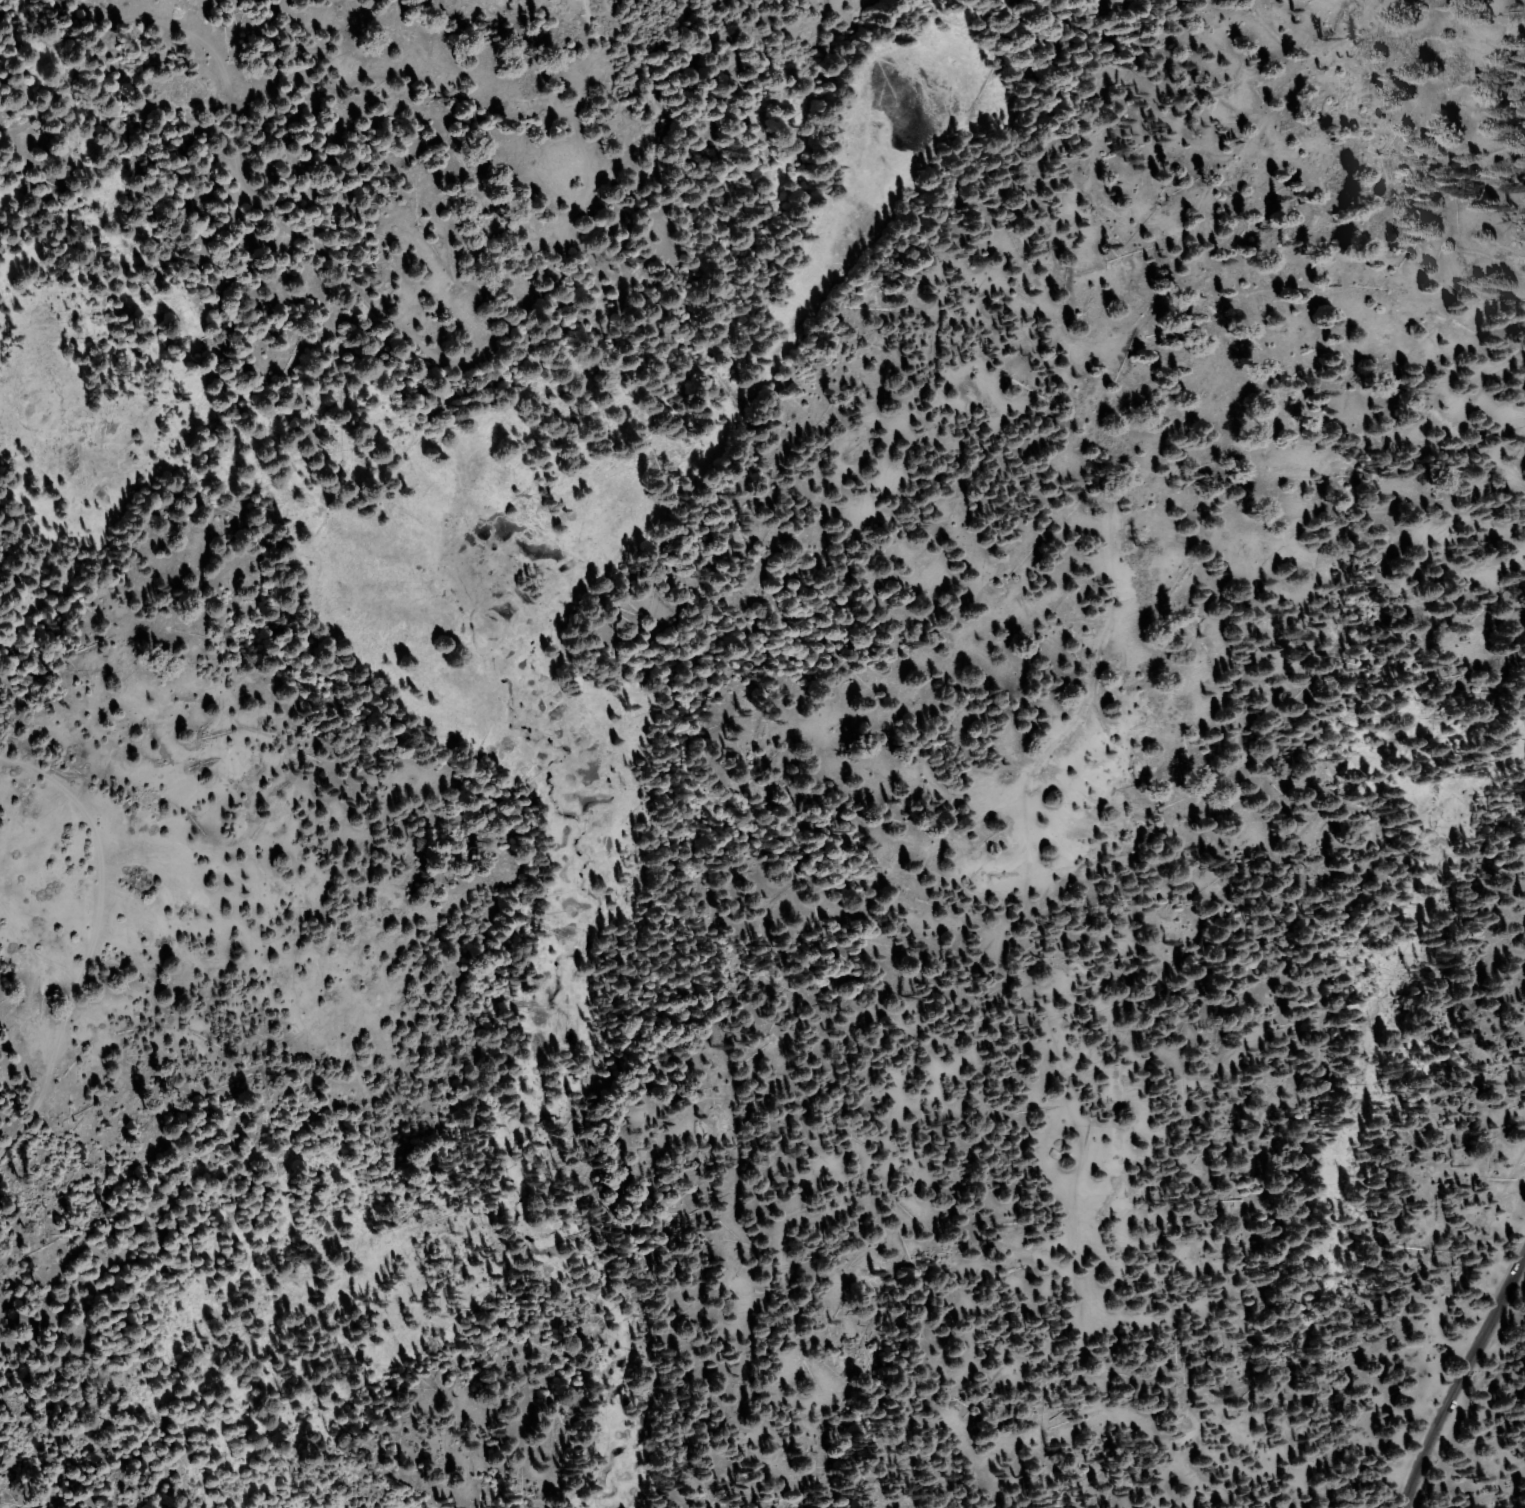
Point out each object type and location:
building: (1, 471)
building: (229, 536)
road: (1462, 1383)

